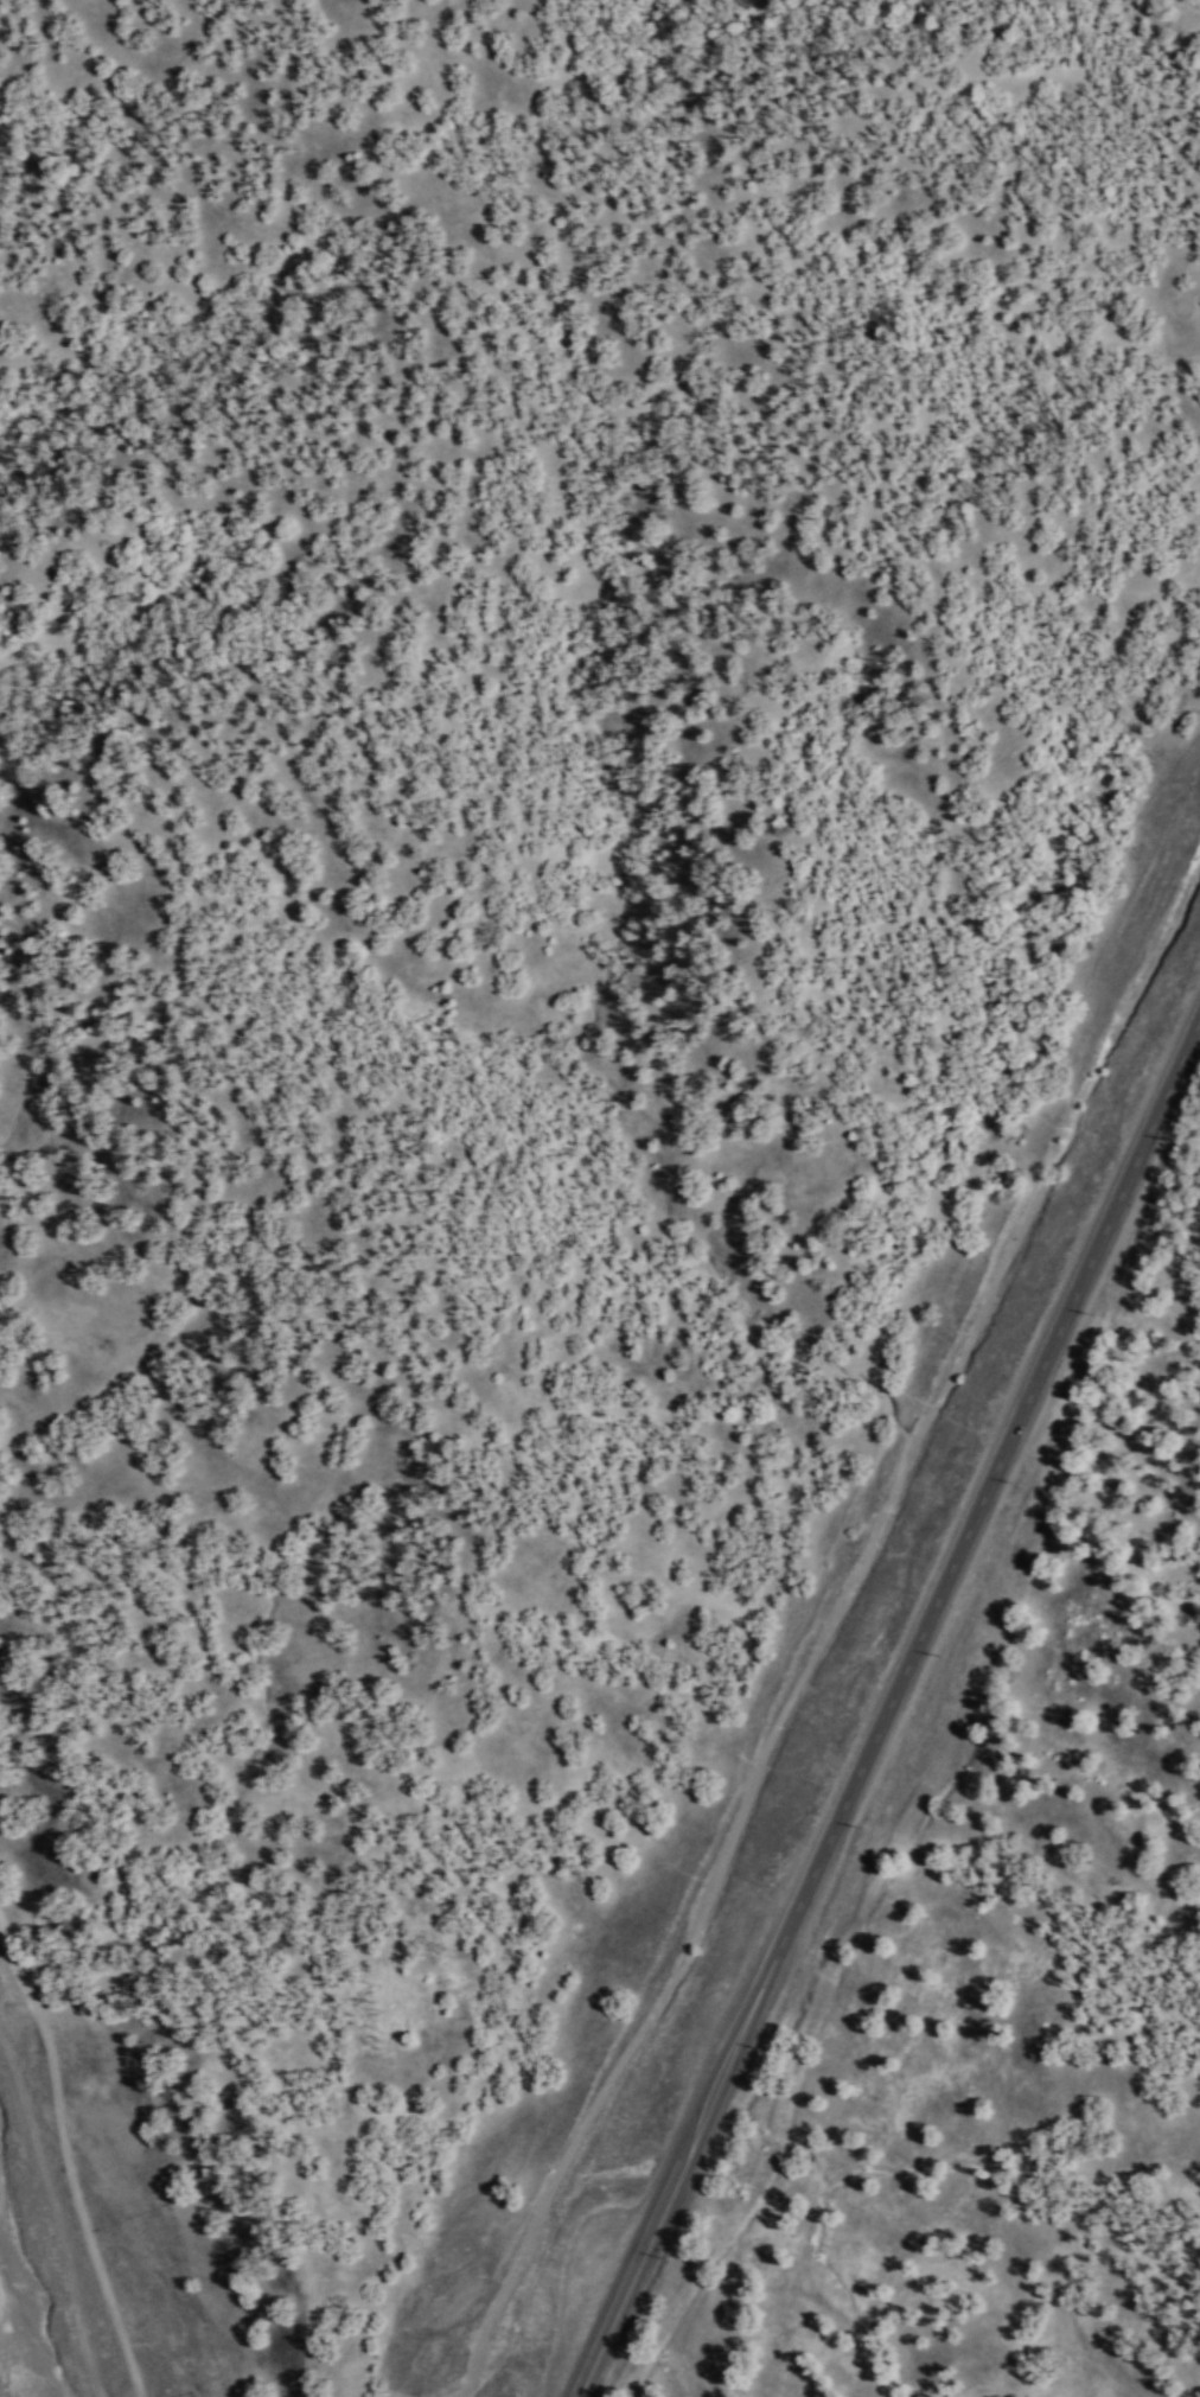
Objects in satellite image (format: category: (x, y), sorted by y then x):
crop: (532, 479)
road: (887, 1707)

